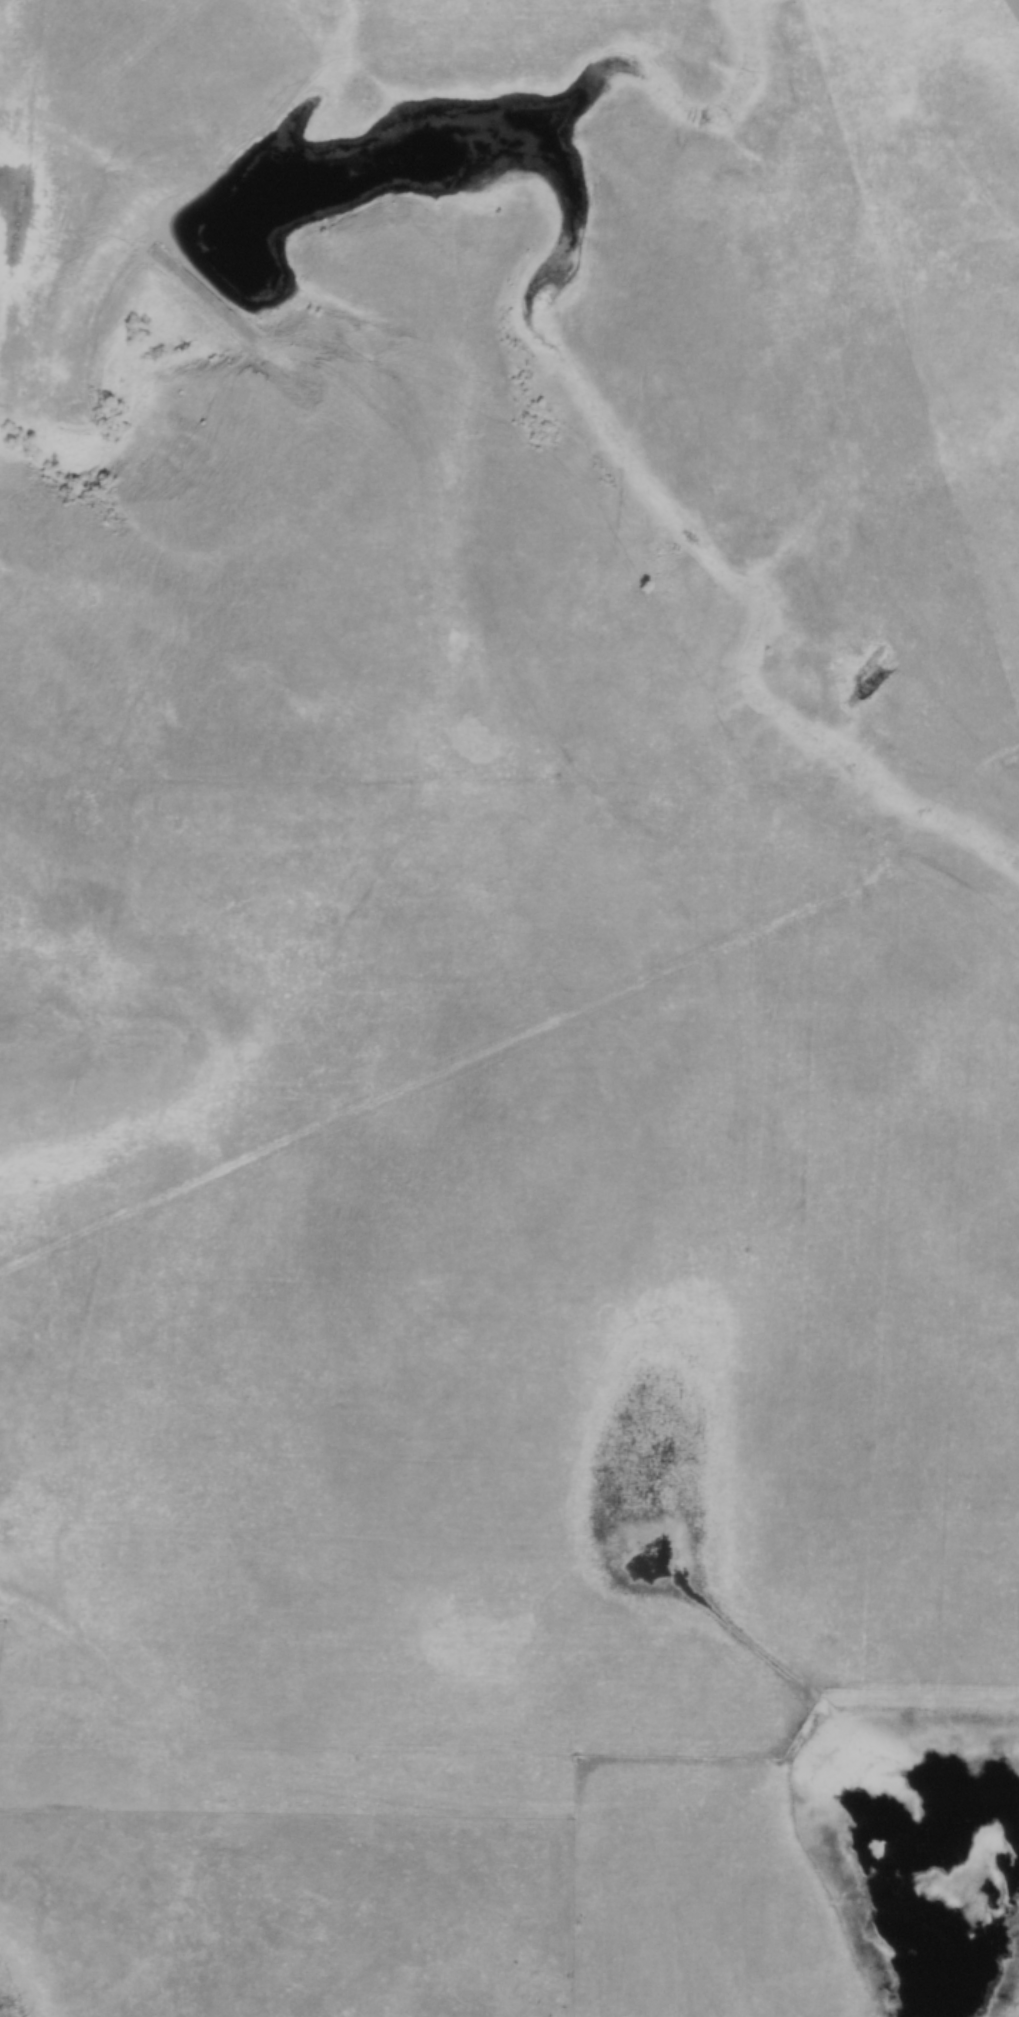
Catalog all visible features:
road: (1018, 1)

